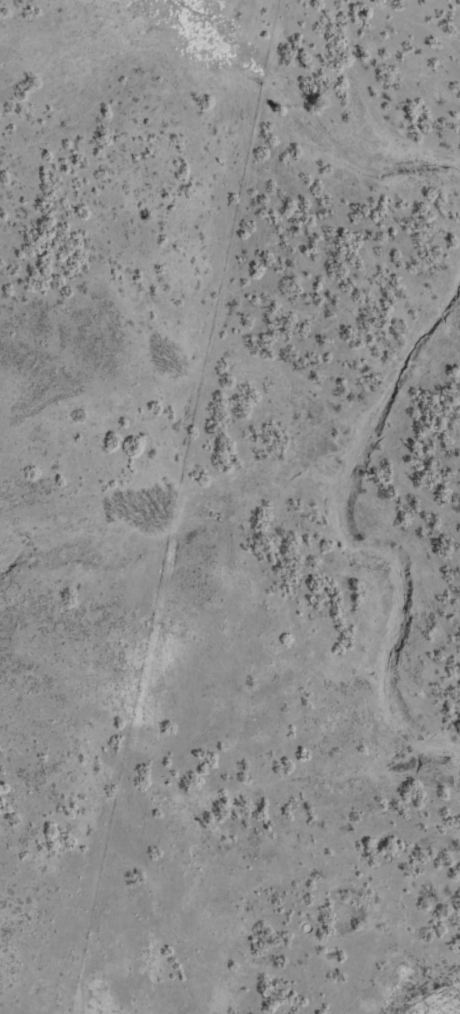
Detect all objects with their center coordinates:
road: (413, 26)
road: (245, 504)

